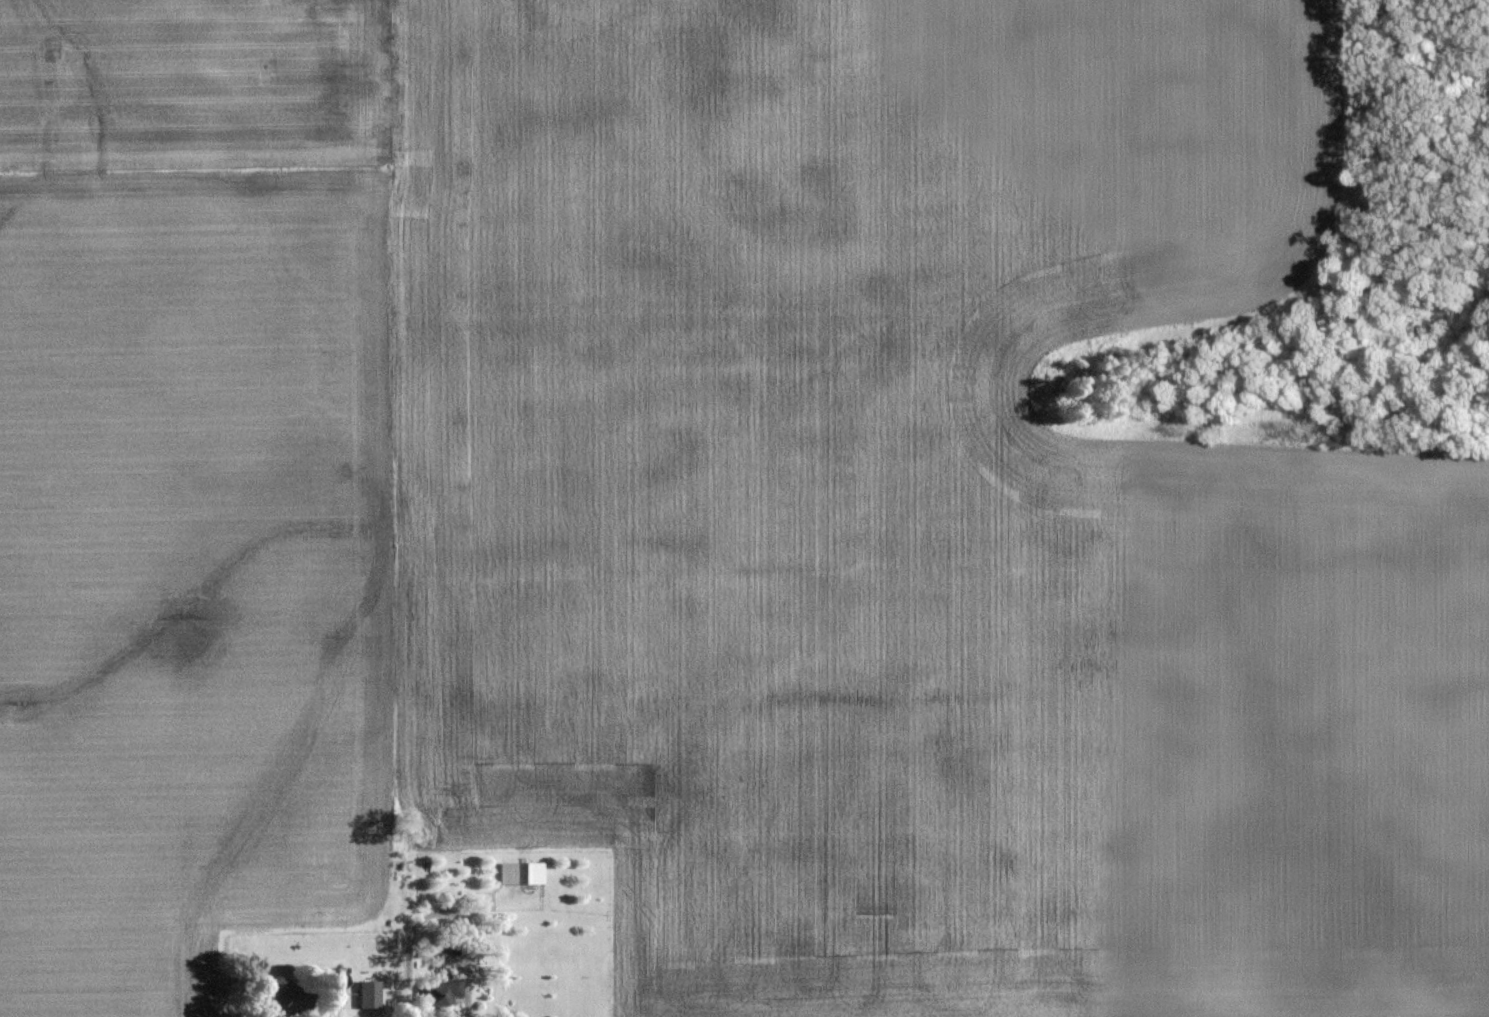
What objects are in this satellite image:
road: (1361, 283)
building: (522, 872)
building: (443, 991)
building: (370, 993)
building: (287, 996)

